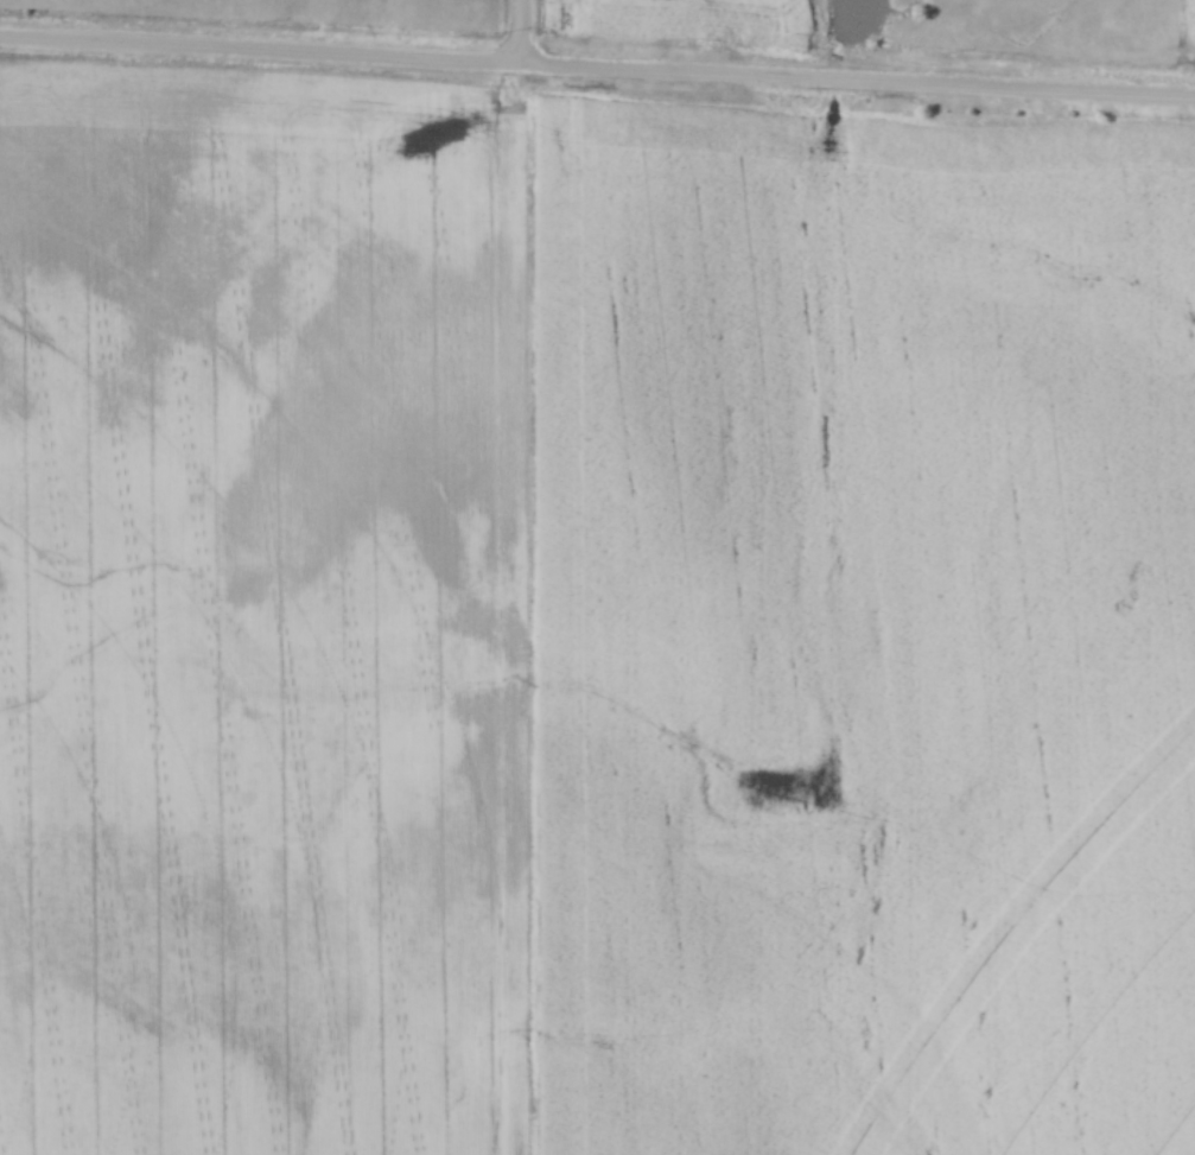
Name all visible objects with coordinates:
road: (525, 31)
road: (597, 65)

